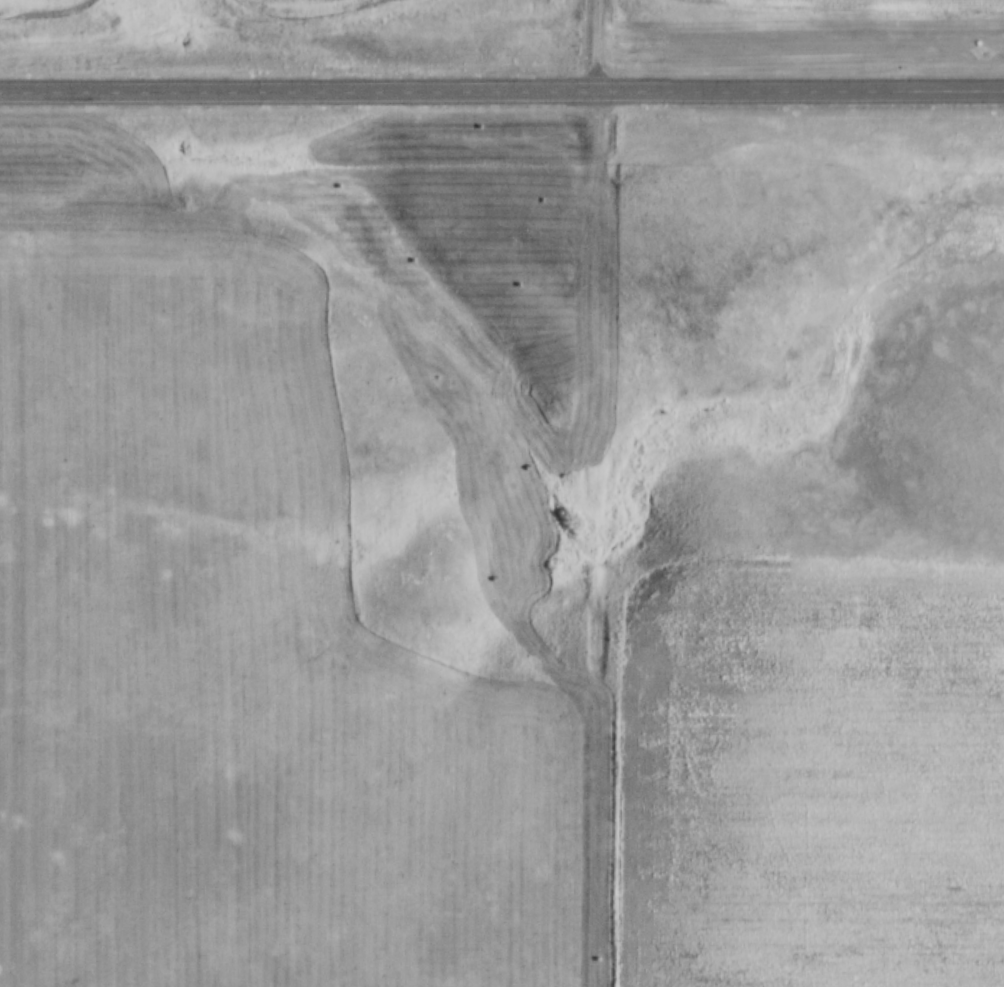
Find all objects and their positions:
road: (603, 47)
road: (502, 94)

